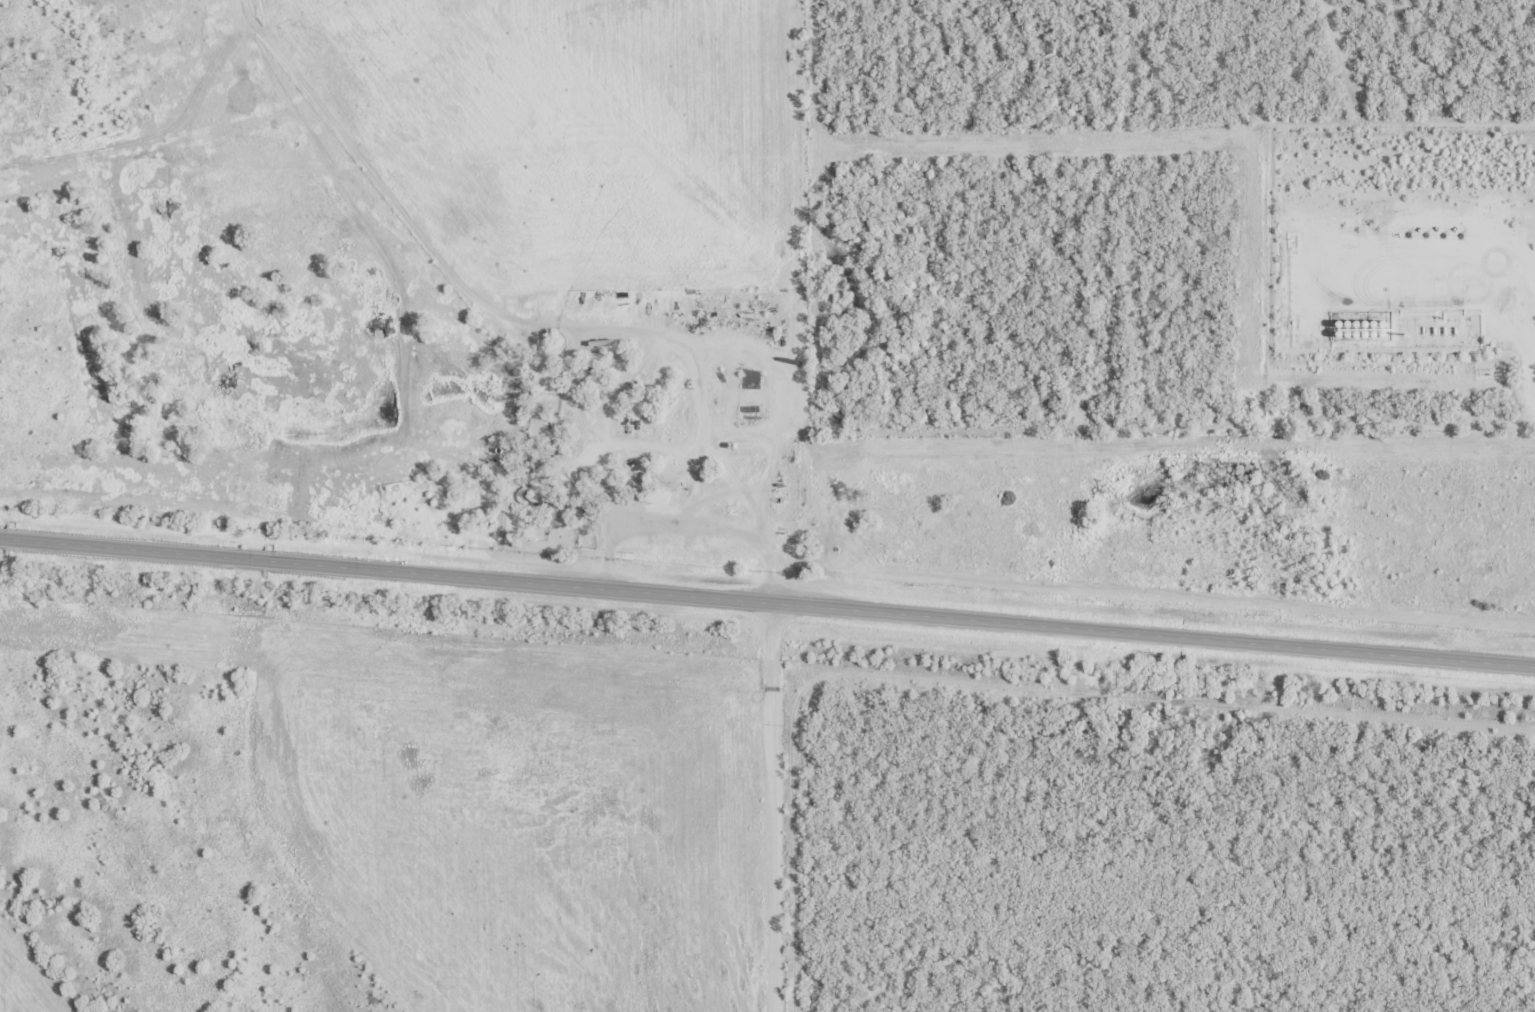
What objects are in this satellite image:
building: (634, 423)
building: (632, 470)
road: (767, 602)

